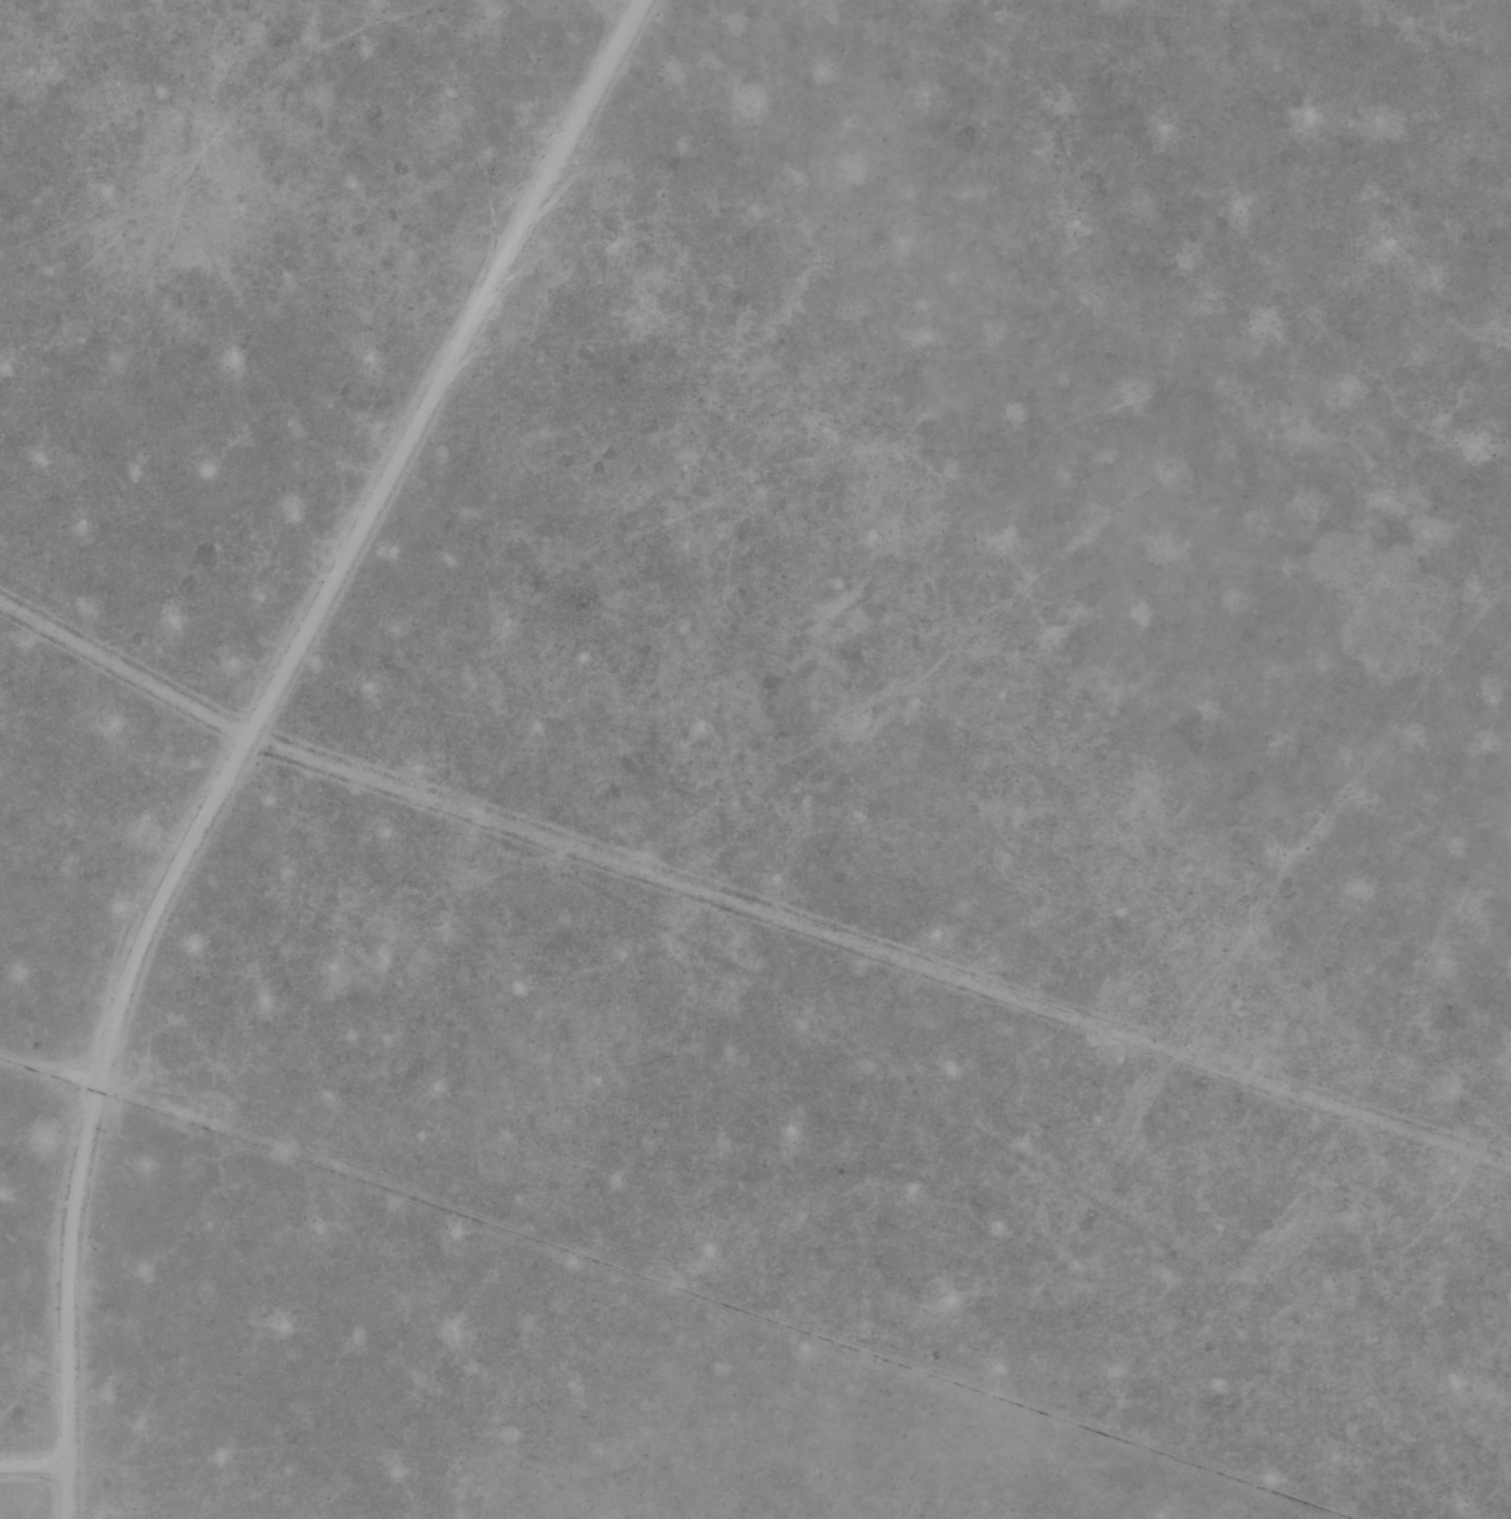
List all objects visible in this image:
road: (617, 8)
road: (124, 668)
road: (251, 730)
road: (880, 949)
road: (46, 1072)
road: (26, 1452)

